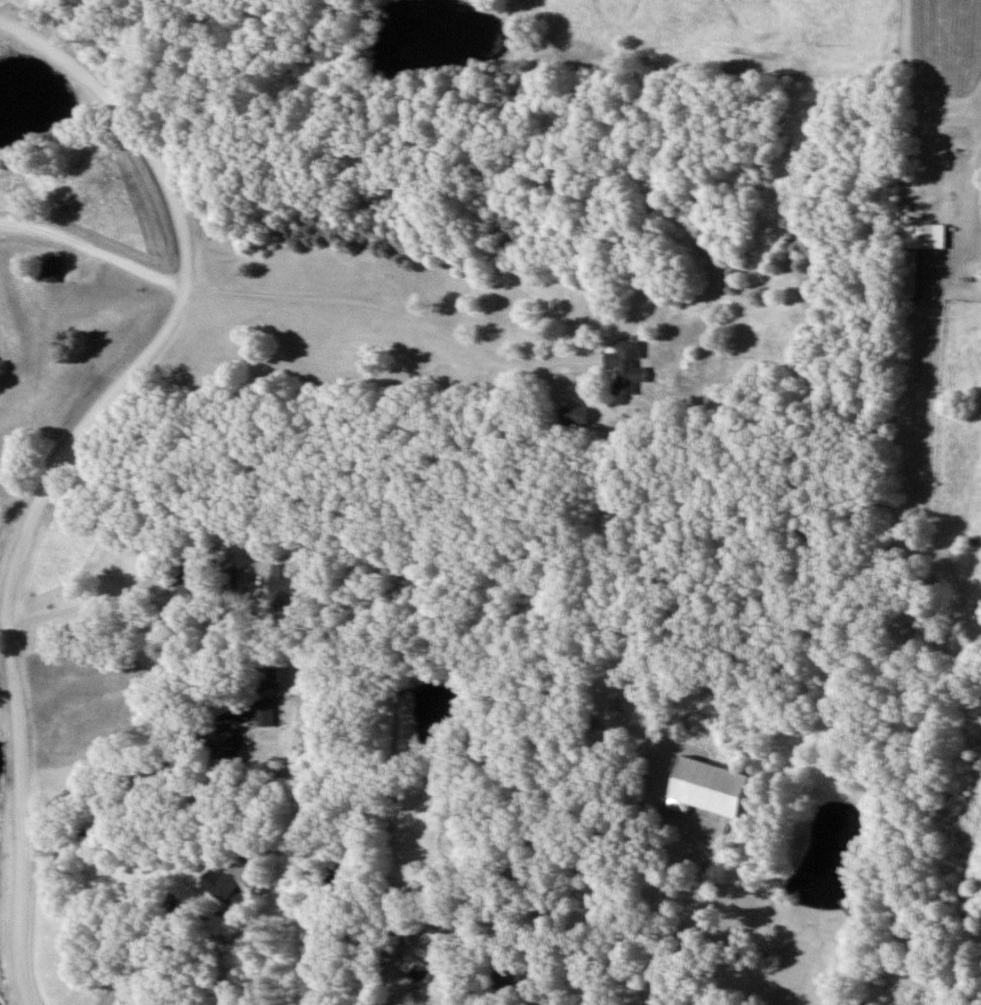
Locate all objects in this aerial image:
building: (915, 250)
road: (94, 251)
building: (50, 268)
road: (392, 312)
building: (626, 366)
building: (575, 415)
road: (68, 465)
park: (460, 511)
building: (231, 587)
road: (5, 631)
building: (266, 712)
building: (228, 740)
building: (707, 786)
building: (234, 885)
building: (415, 969)
building: (506, 978)

